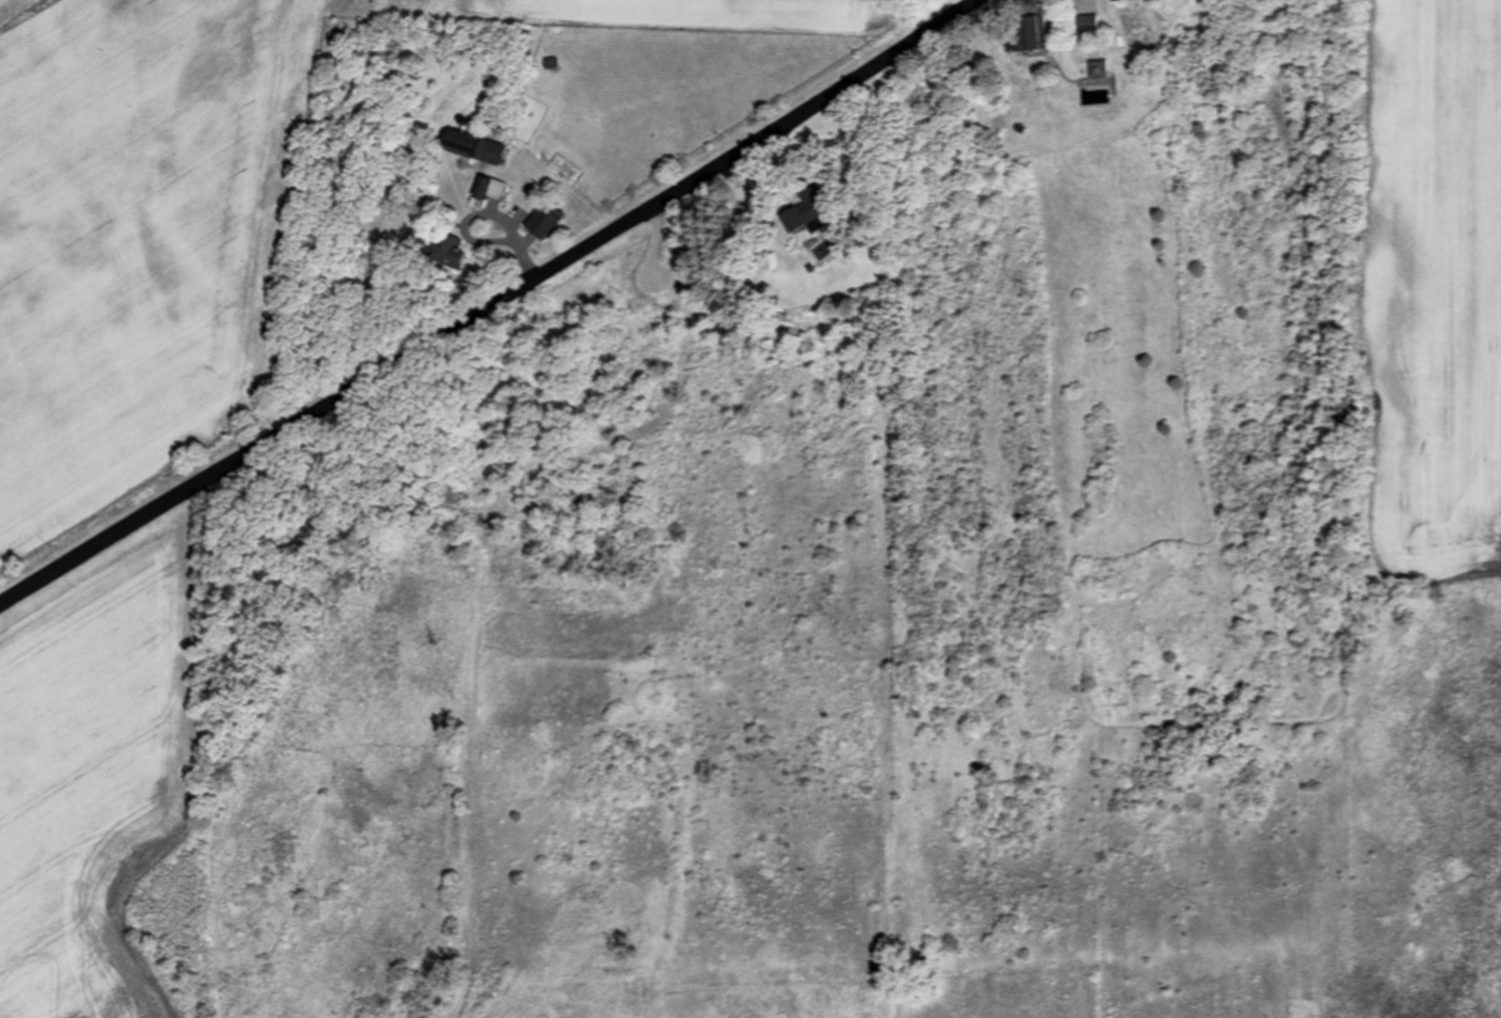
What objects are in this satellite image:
building: (1115, 0)
building: (1089, 25)
building: (1033, 34)
building: (1100, 70)
building: (475, 146)
building: (490, 188)
building: (805, 210)
building: (544, 222)
building: (453, 247)
road: (491, 306)

